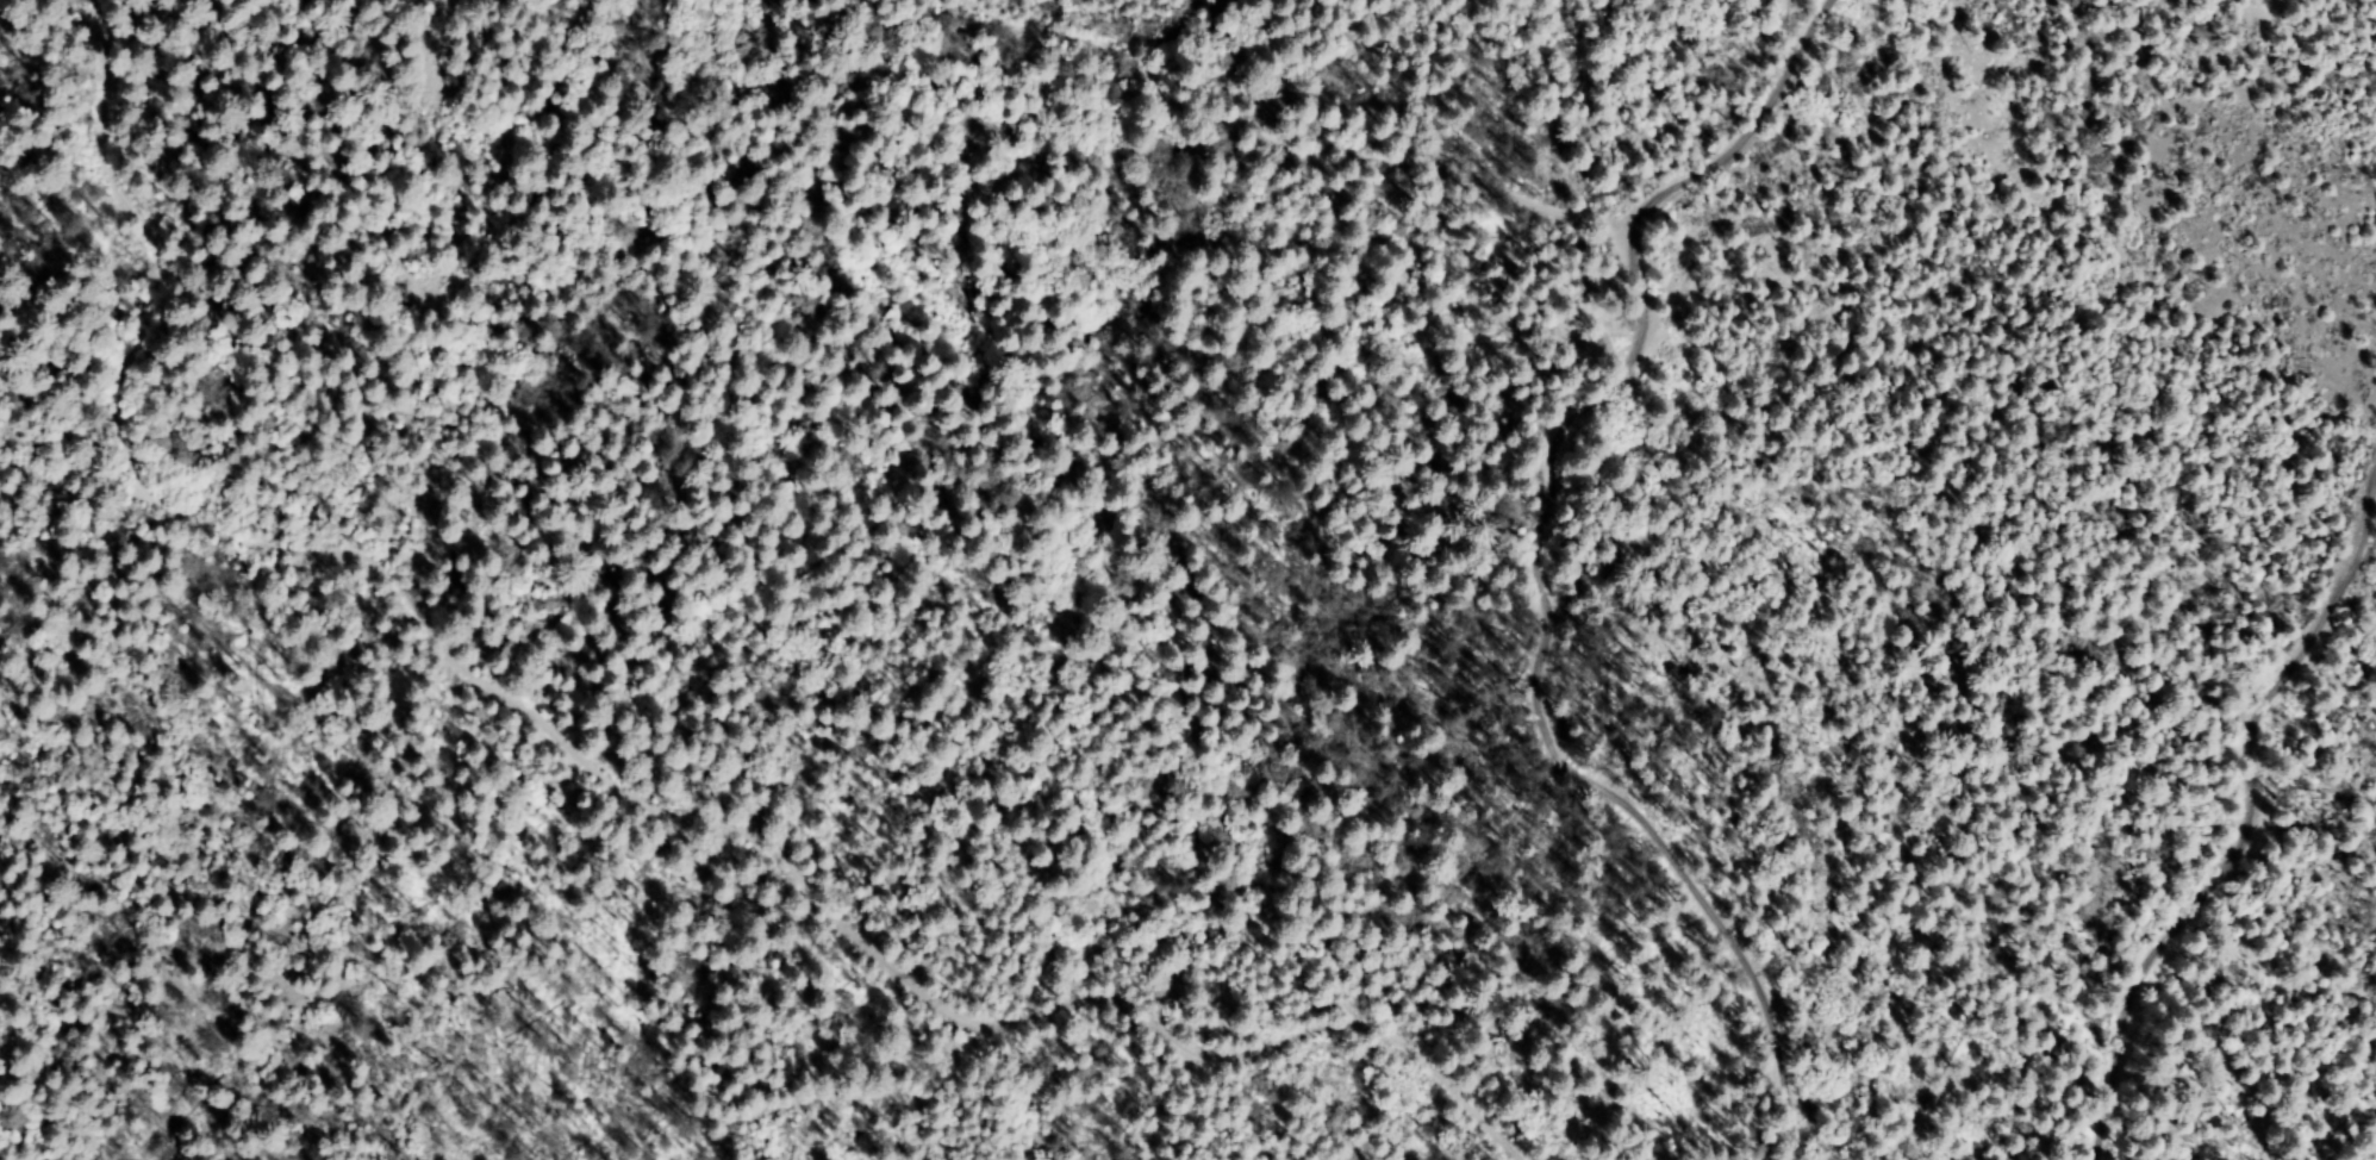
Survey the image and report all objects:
road: (1573, 561)
road: (631, 760)
road: (2216, 813)

